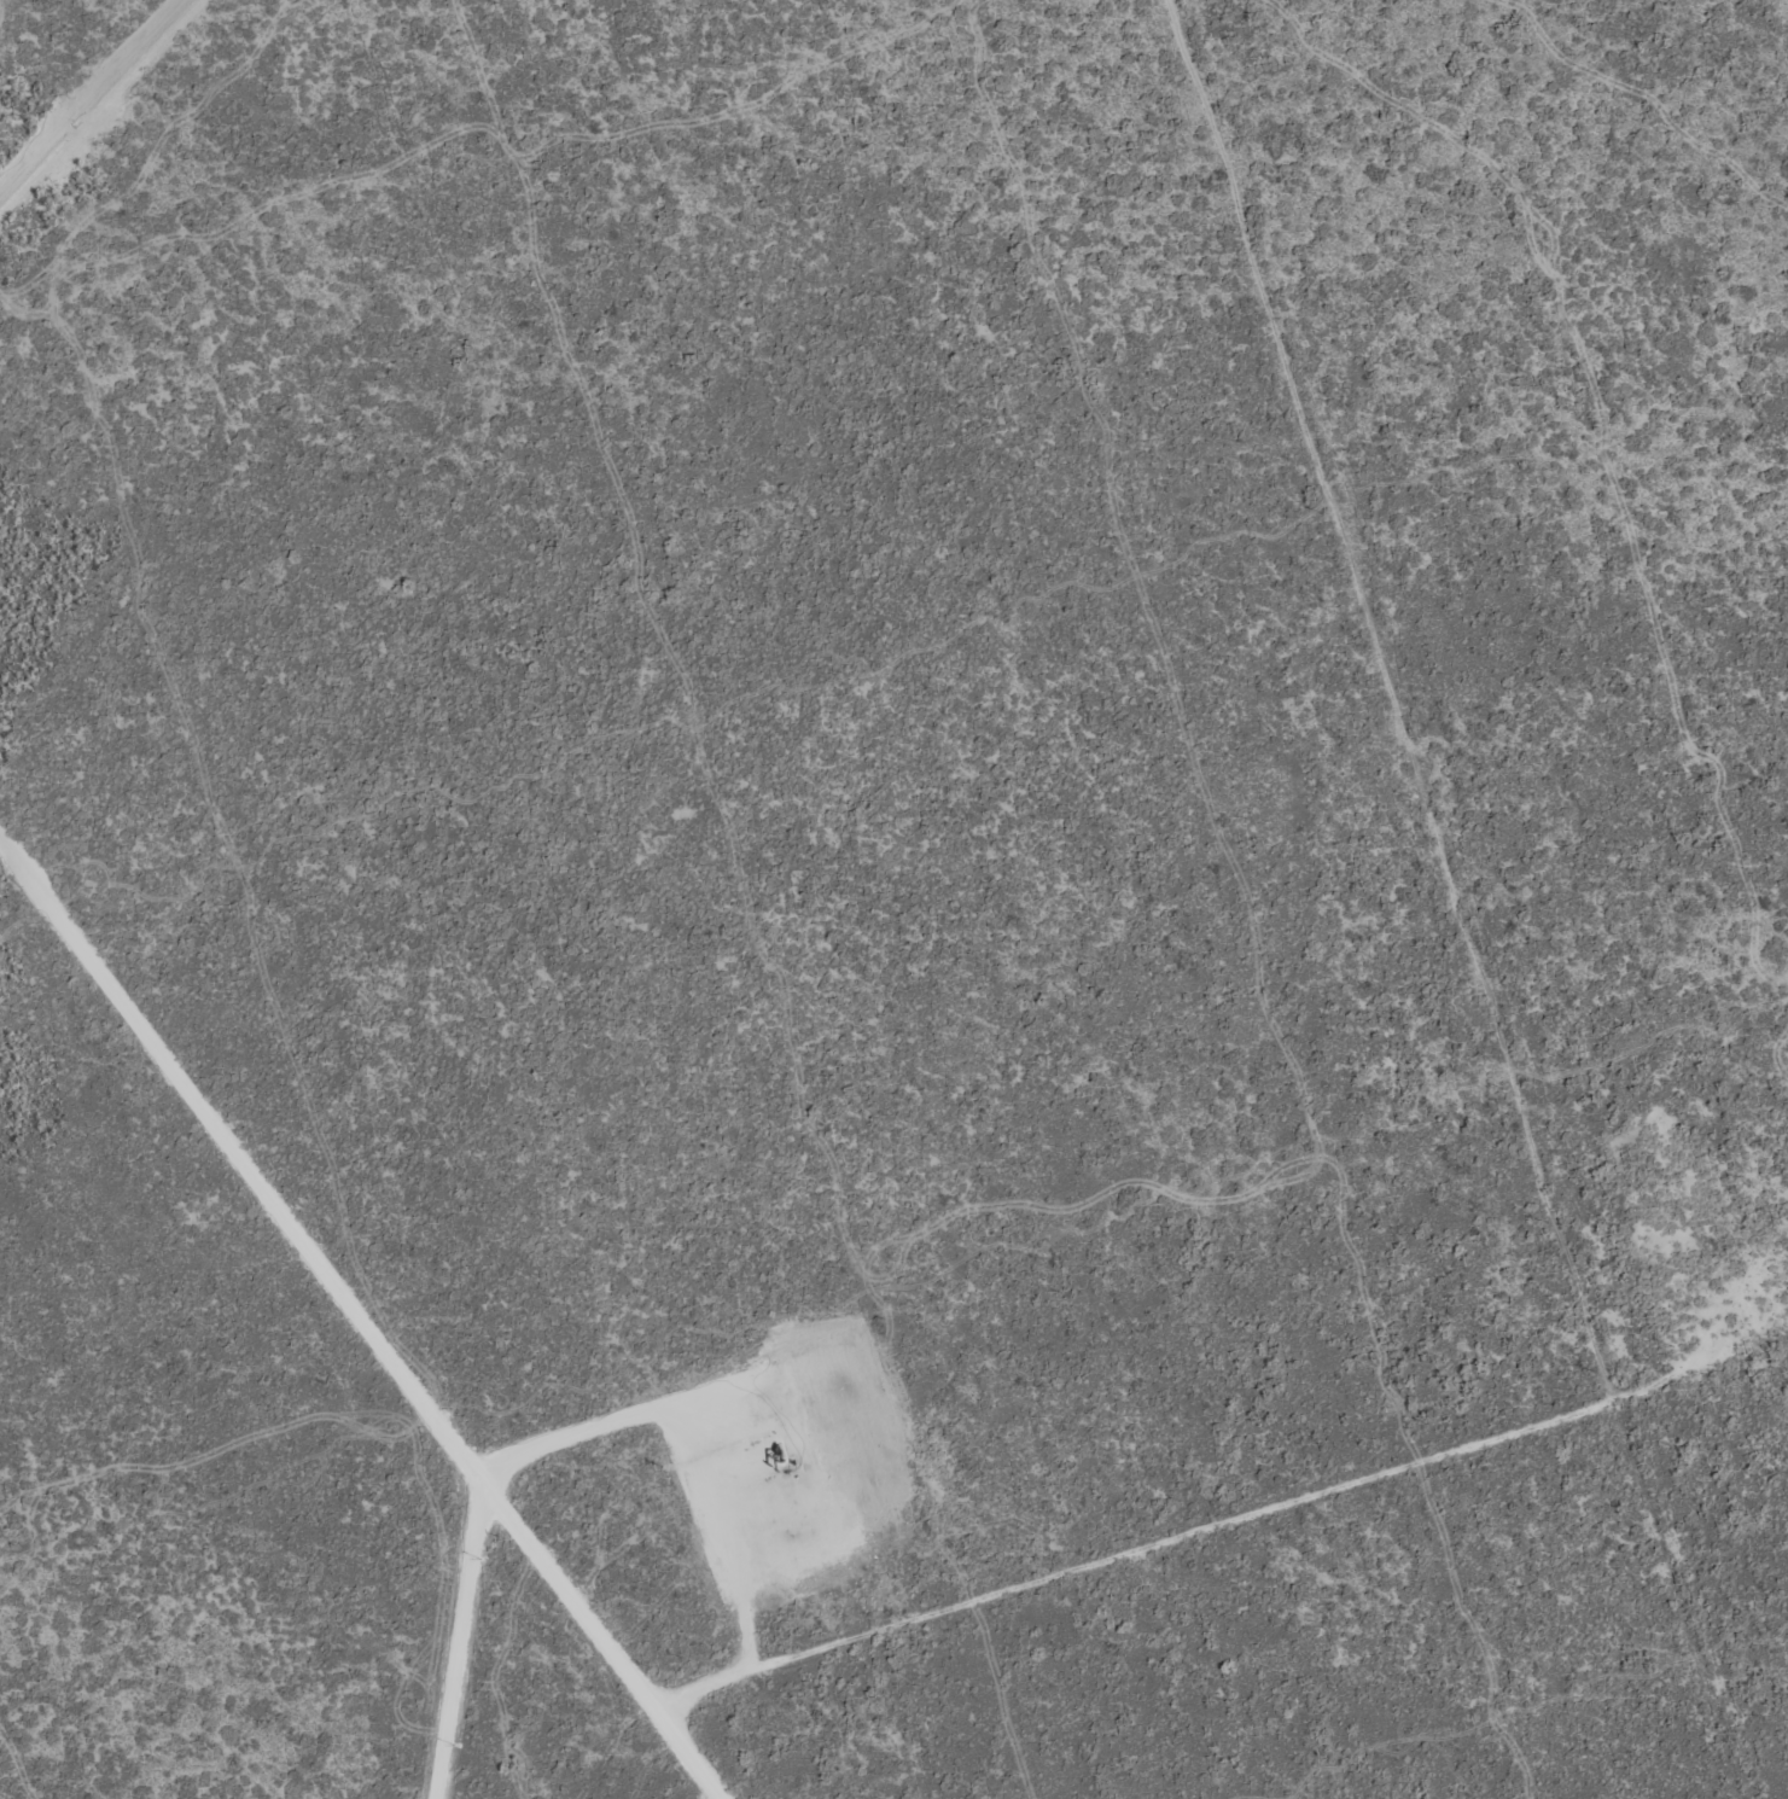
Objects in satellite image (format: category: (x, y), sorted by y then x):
road: (373, 1305)
road: (1211, 1550)

